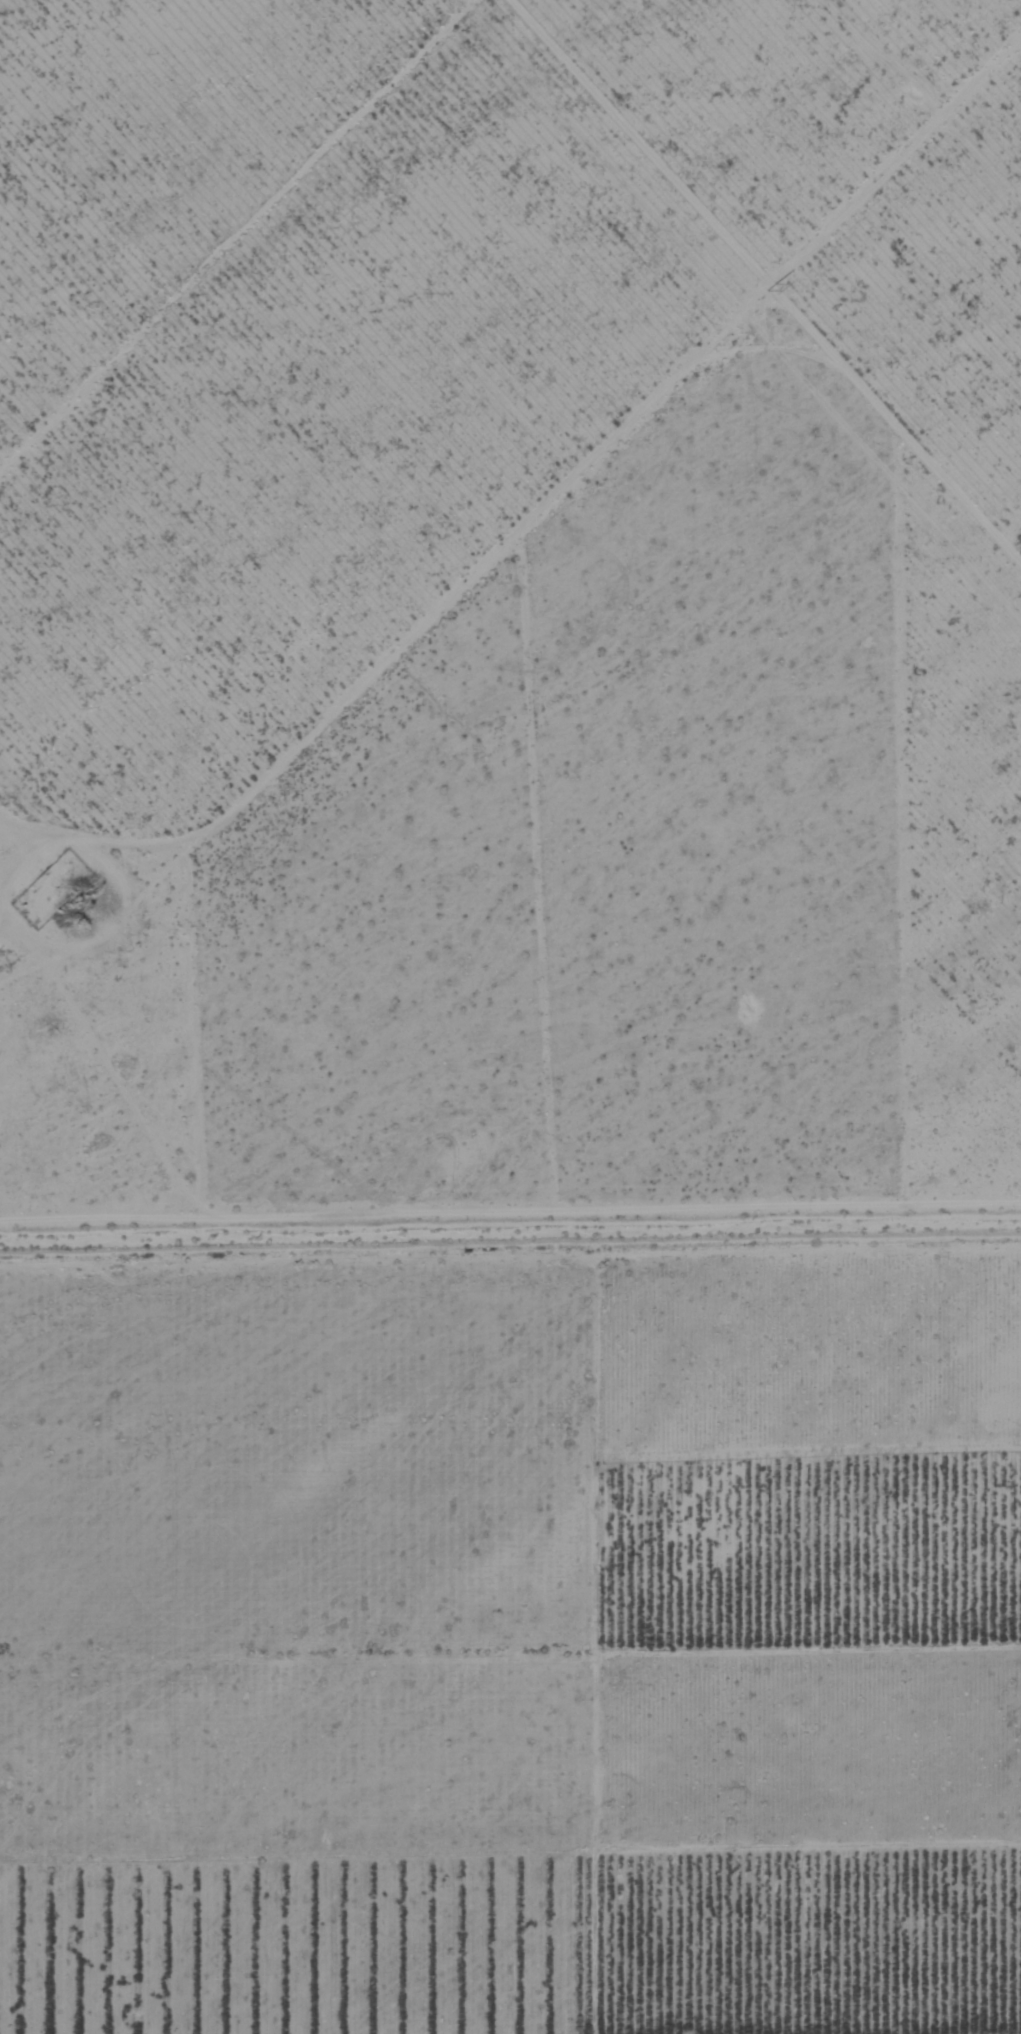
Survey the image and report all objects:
power tower: (785, 283)

